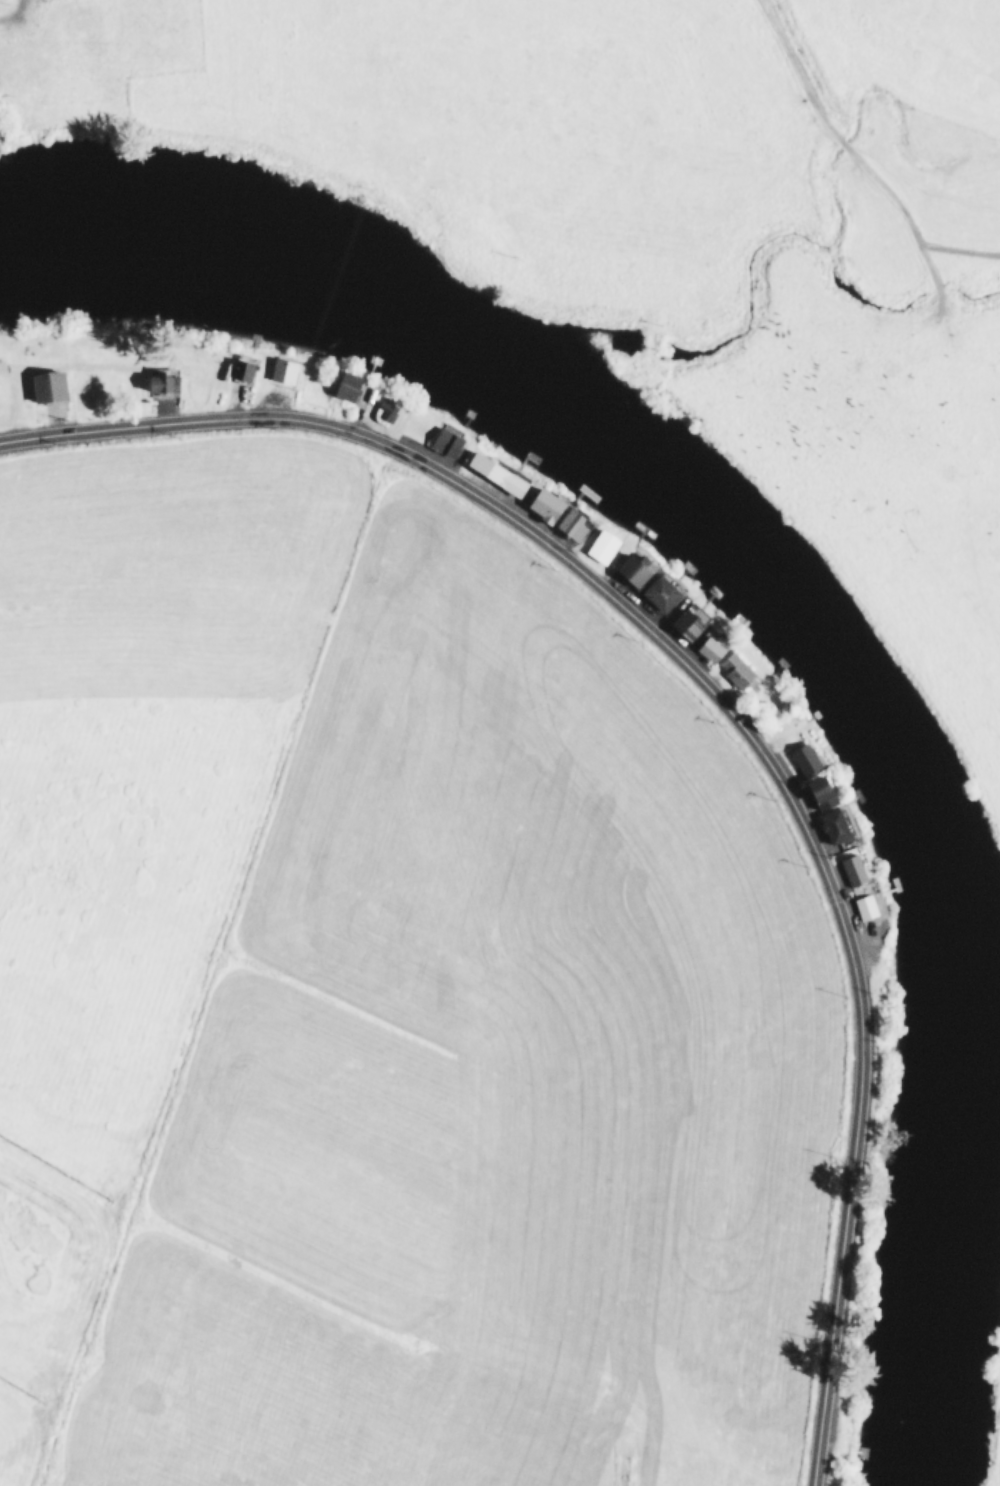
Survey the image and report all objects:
crop: (691, 220)
building: (239, 369)
building: (281, 369)
building: (159, 381)
building: (45, 384)
building: (344, 384)
building: (387, 407)
building: (443, 439)
building: (493, 472)
building: (542, 503)
building: (568, 522)
building: (599, 545)
building: (632, 568)
building: (658, 591)
river: (800, 614)
building: (687, 620)
building: (707, 648)
building: (733, 668)
road: (724, 701)
building: (802, 757)
building: (817, 791)
building: (831, 825)
building: (850, 868)
building: (863, 905)
crop: (385, 1002)

